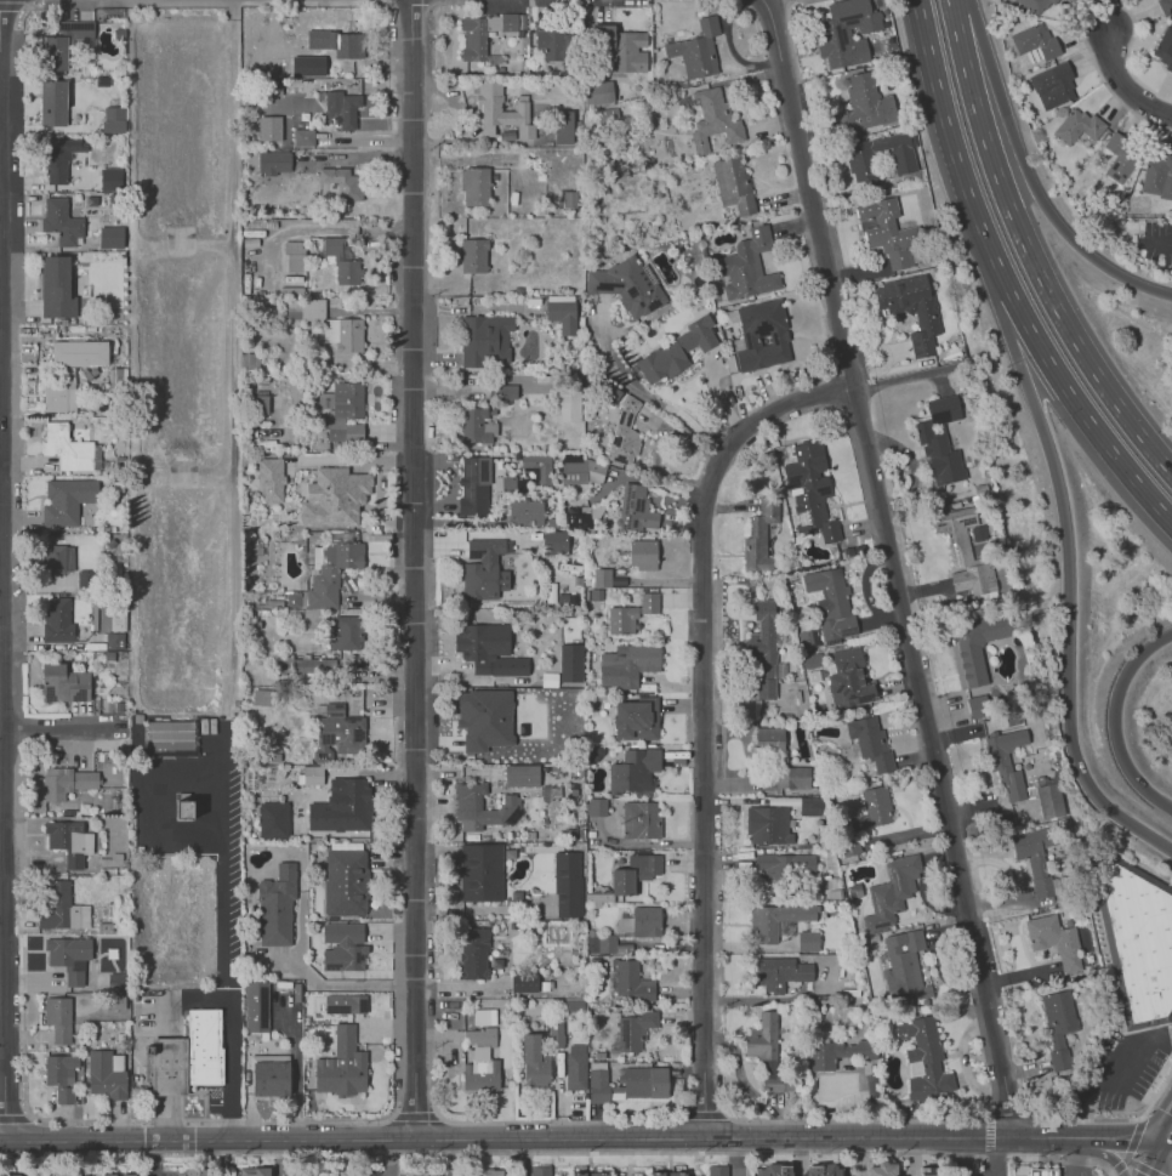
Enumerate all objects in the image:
road: (763, 0)
building: (1036, 5)
road: (10, 6)
building: (1165, 6)
building: (844, 32)
building: (482, 33)
building: (334, 41)
building: (63, 42)
building: (1037, 42)
building: (552, 44)
building: (1166, 49)
building: (695, 50)
building: (628, 51)
building: (307, 64)
road: (1120, 80)
building: (1053, 84)
road: (995, 89)
building: (598, 90)
building: (52, 102)
building: (864, 104)
building: (340, 108)
building: (496, 109)
building: (112, 118)
building: (713, 118)
building: (564, 126)
building: (268, 127)
building: (1080, 127)
building: (284, 129)
building: (303, 137)
road: (950, 141)
building: (1119, 155)
building: (59, 158)
building: (273, 161)
building: (860, 161)
building: (110, 178)
building: (1160, 178)
building: (341, 181)
building: (732, 183)
building: (474, 184)
building: (61, 221)
building: (887, 231)
building: (110, 237)
road: (1167, 248)
road: (1028, 251)
road: (1088, 252)
building: (473, 255)
building: (336, 257)
building: (746, 266)
building: (627, 285)
building: (56, 288)
building: (305, 308)
road: (461, 309)
building: (561, 312)
building: (926, 322)
building: (343, 333)
building: (761, 335)
building: (485, 339)
building: (676, 351)
building: (69, 369)
road: (901, 379)
building: (502, 391)
road: (649, 397)
building: (569, 400)
road: (1077, 405)
road: (10, 410)
building: (343, 411)
building: (476, 425)
building: (624, 433)
building: (939, 441)
building: (66, 447)
road: (349, 459)
building: (537, 465)
building: (579, 468)
building: (269, 478)
building: (473, 484)
building: (513, 485)
building: (809, 489)
building: (331, 496)
building: (67, 500)
road: (380, 501)
building: (638, 507)
building: (524, 511)
building: (579, 517)
building: (974, 534)
building: (758, 538)
building: (554, 542)
building: (963, 551)
building: (642, 553)
building: (58, 562)
road: (895, 566)
building: (483, 569)
building: (330, 570)
road: (411, 570)
building: (601, 576)
road: (1069, 580)
building: (827, 601)
building: (649, 602)
building: (58, 619)
building: (621, 619)
building: (345, 632)
building: (807, 638)
building: (488, 648)
building: (762, 649)
building: (808, 660)
building: (975, 660)
building: (570, 661)
building: (626, 664)
building: (306, 665)
building: (848, 678)
building: (63, 683)
building: (263, 697)
building: (484, 717)
building: (635, 718)
road: (1113, 720)
road: (707, 723)
road: (63, 728)
building: (337, 731)
building: (169, 734)
building: (768, 740)
building: (869, 740)
building: (1006, 760)
building: (633, 771)
building: (311, 773)
building: (520, 774)
building: (792, 777)
building: (64, 782)
building: (1049, 800)
building: (468, 801)
building: (341, 805)
building: (597, 806)
building: (870, 809)
building: (272, 818)
building: (641, 819)
building: (767, 825)
building: (69, 841)
building: (345, 845)
building: (848, 846)
building: (1032, 858)
building: (785, 864)
building: (480, 871)
building: (635, 873)
building: (345, 881)
building: (567, 884)
building: (275, 904)
building: (62, 908)
building: (645, 920)
building: (774, 920)
road: (222, 933)
building: (1139, 939)
building: (807, 941)
building: (1053, 941)
building: (602, 943)
building: (342, 947)
building: (473, 953)
building: (69, 956)
building: (903, 964)
building: (779, 972)
building: (630, 979)
road: (11, 981)
building: (525, 983)
road: (338, 984)
road: (194, 998)
building: (345, 1004)
building: (255, 1006)
building: (483, 1016)
building: (57, 1018)
building: (1058, 1024)
building: (633, 1029)
building: (556, 1034)
building: (767, 1051)
building: (838, 1052)
building: (188, 1055)
building: (923, 1059)
building: (533, 1061)
building: (341, 1064)
building: (575, 1066)
building: (479, 1069)
building: (106, 1073)
building: (59, 1075)
building: (271, 1079)
building: (626, 1081)
road: (1099, 1081)
road: (704, 1114)
road: (413, 1115)
road: (13, 1117)
road: (957, 1119)
road: (307, 1121)
road: (551, 1121)
road: (1134, 1134)
road: (1167, 1134)
road: (989, 1135)
road: (581, 1140)
traffic signals: (1162, 1143)
road: (1167, 1146)
road: (558, 1152)
road: (965, 1155)
road: (994, 1155)
road: (1074, 1155)
road: (798, 1157)
road: (1109, 1157)
road: (153, 1158)
road: (279, 1158)
road: (392, 1158)
road: (453, 1158)
road: (524, 1158)
road: (740, 1158)
road: (1127, 1158)
road: (1154, 1159)
road: (1131, 1161)
road: (1117, 1168)
building: (882, 1169)
road: (1145, 1169)
building: (254, 1170)
building: (773, 1170)
building: (824, 1170)
building: (541, 1171)
building: (718, 1171)
building: (928, 1171)
building: (1043, 1171)
building: (11, 1174)
building: (120, 1174)
building: (480, 1174)
building: (601, 1174)
building: (419, 1175)
building: (579, 1175)
building: (659, 1175)
building: (681, 1175)

